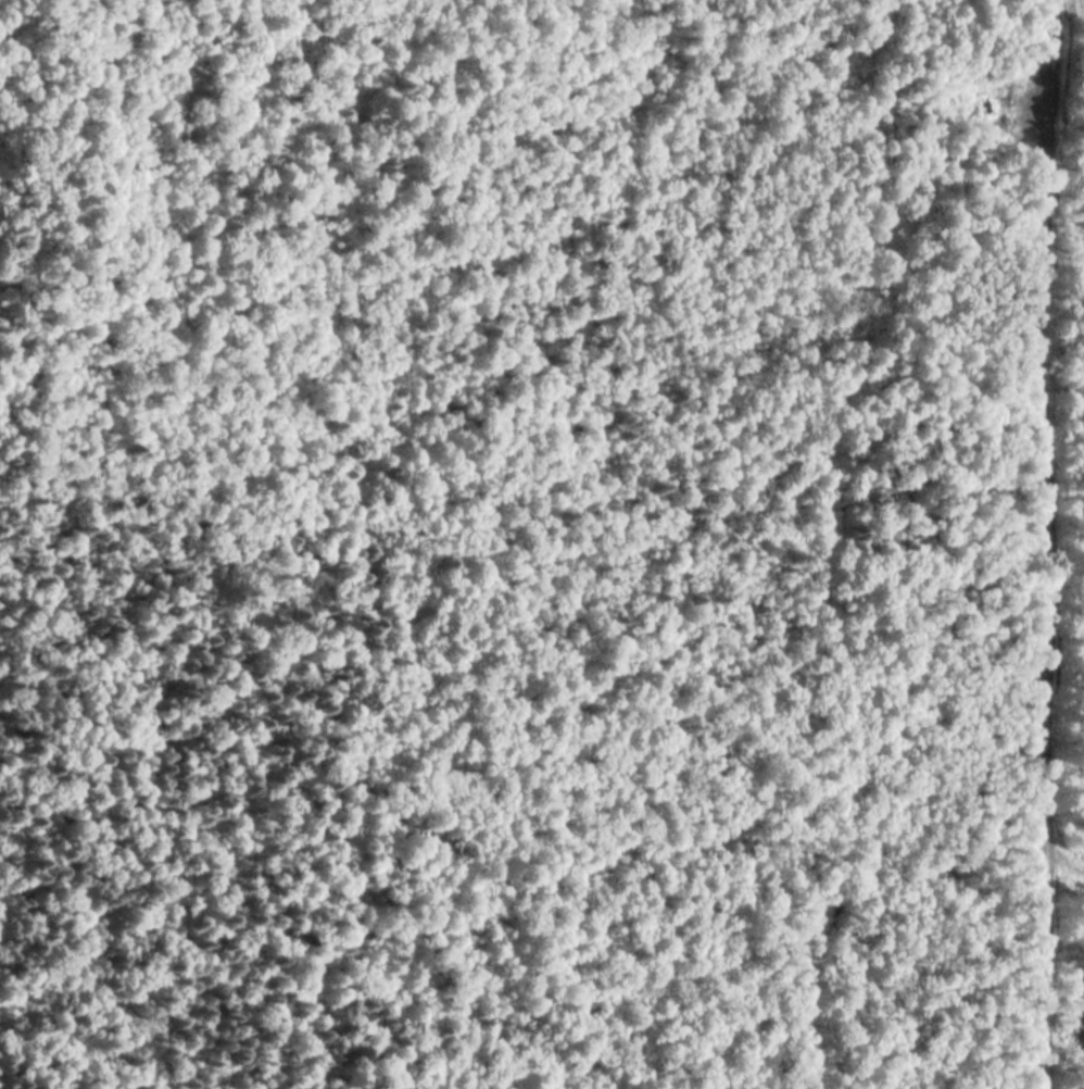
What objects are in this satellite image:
road: (1046, 80)

